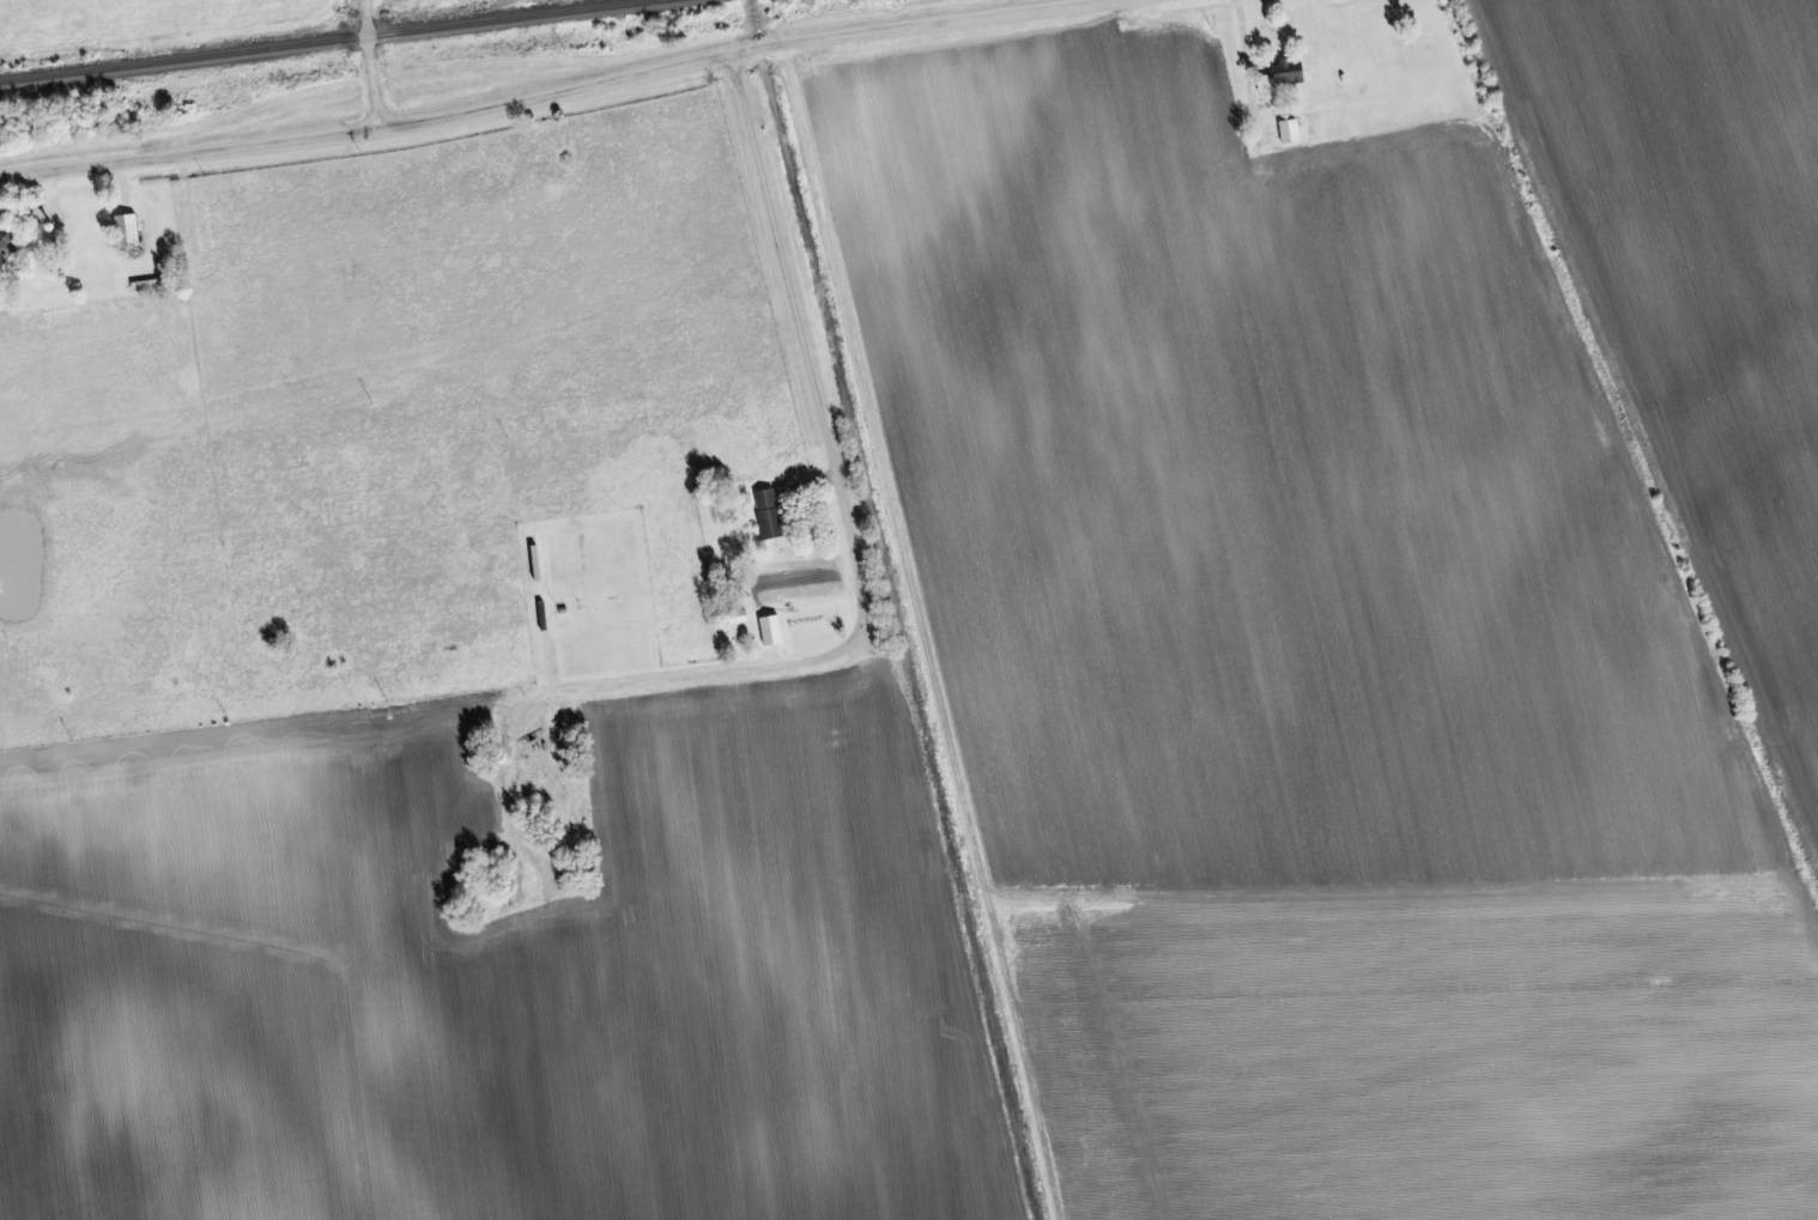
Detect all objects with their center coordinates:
road: (365, 18)
railway: (333, 41)
road: (374, 84)
road: (568, 92)
building: (129, 231)
building: (7, 239)
building: (787, 494)
building: (771, 516)
road: (848, 521)
building: (774, 633)

